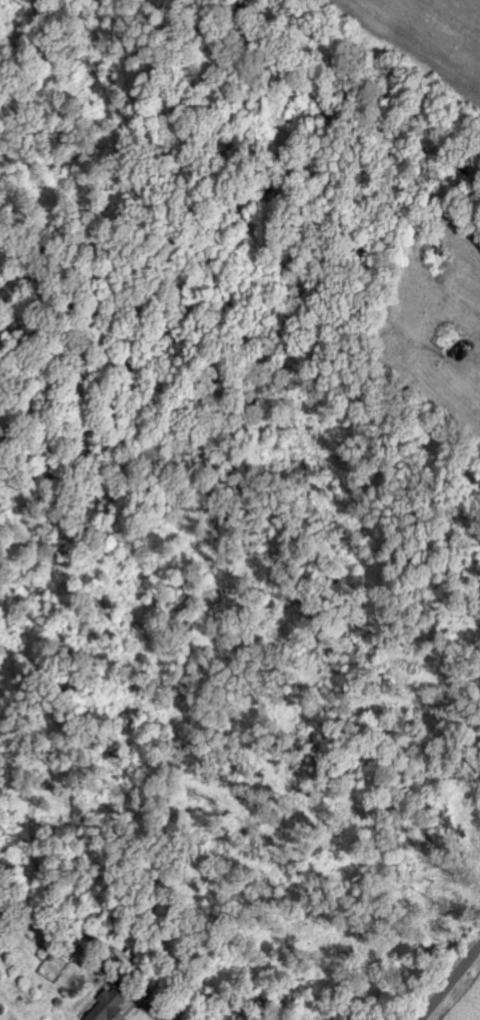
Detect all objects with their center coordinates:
road: (450, 983)
building: (111, 1005)
road: (152, 1010)

